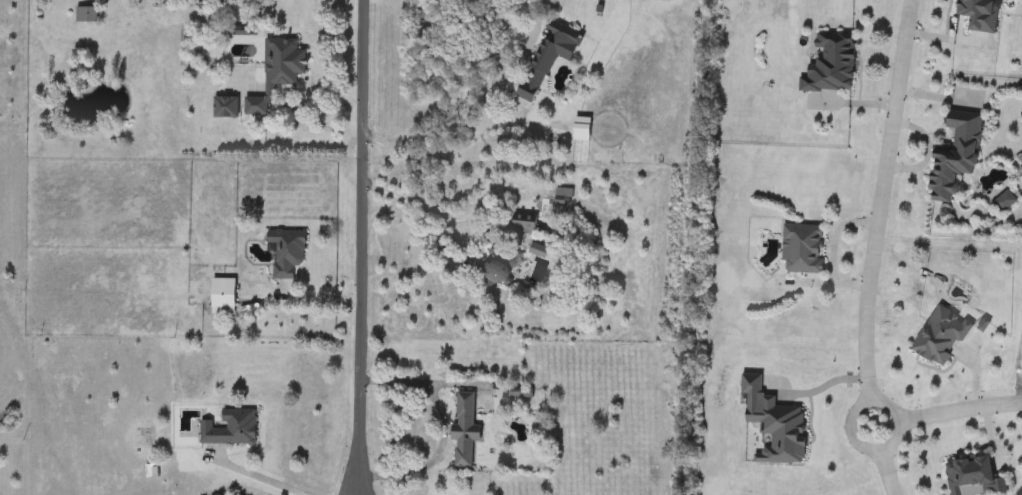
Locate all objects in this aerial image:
building: (976, 14)
building: (88, 16)
building: (546, 64)
building: (827, 64)
building: (278, 74)
building: (227, 108)
building: (585, 130)
road: (462, 149)
building: (951, 156)
road: (880, 200)
road: (412, 202)
building: (1002, 202)
building: (526, 229)
road: (359, 247)
building: (800, 248)
building: (289, 254)
building: (499, 270)
building: (226, 297)
road: (308, 298)
building: (938, 336)
road: (958, 408)
road: (443, 424)
building: (232, 429)
building: (782, 432)
building: (468, 433)
road: (877, 449)
road: (888, 472)
building: (970, 478)
road: (250, 481)

